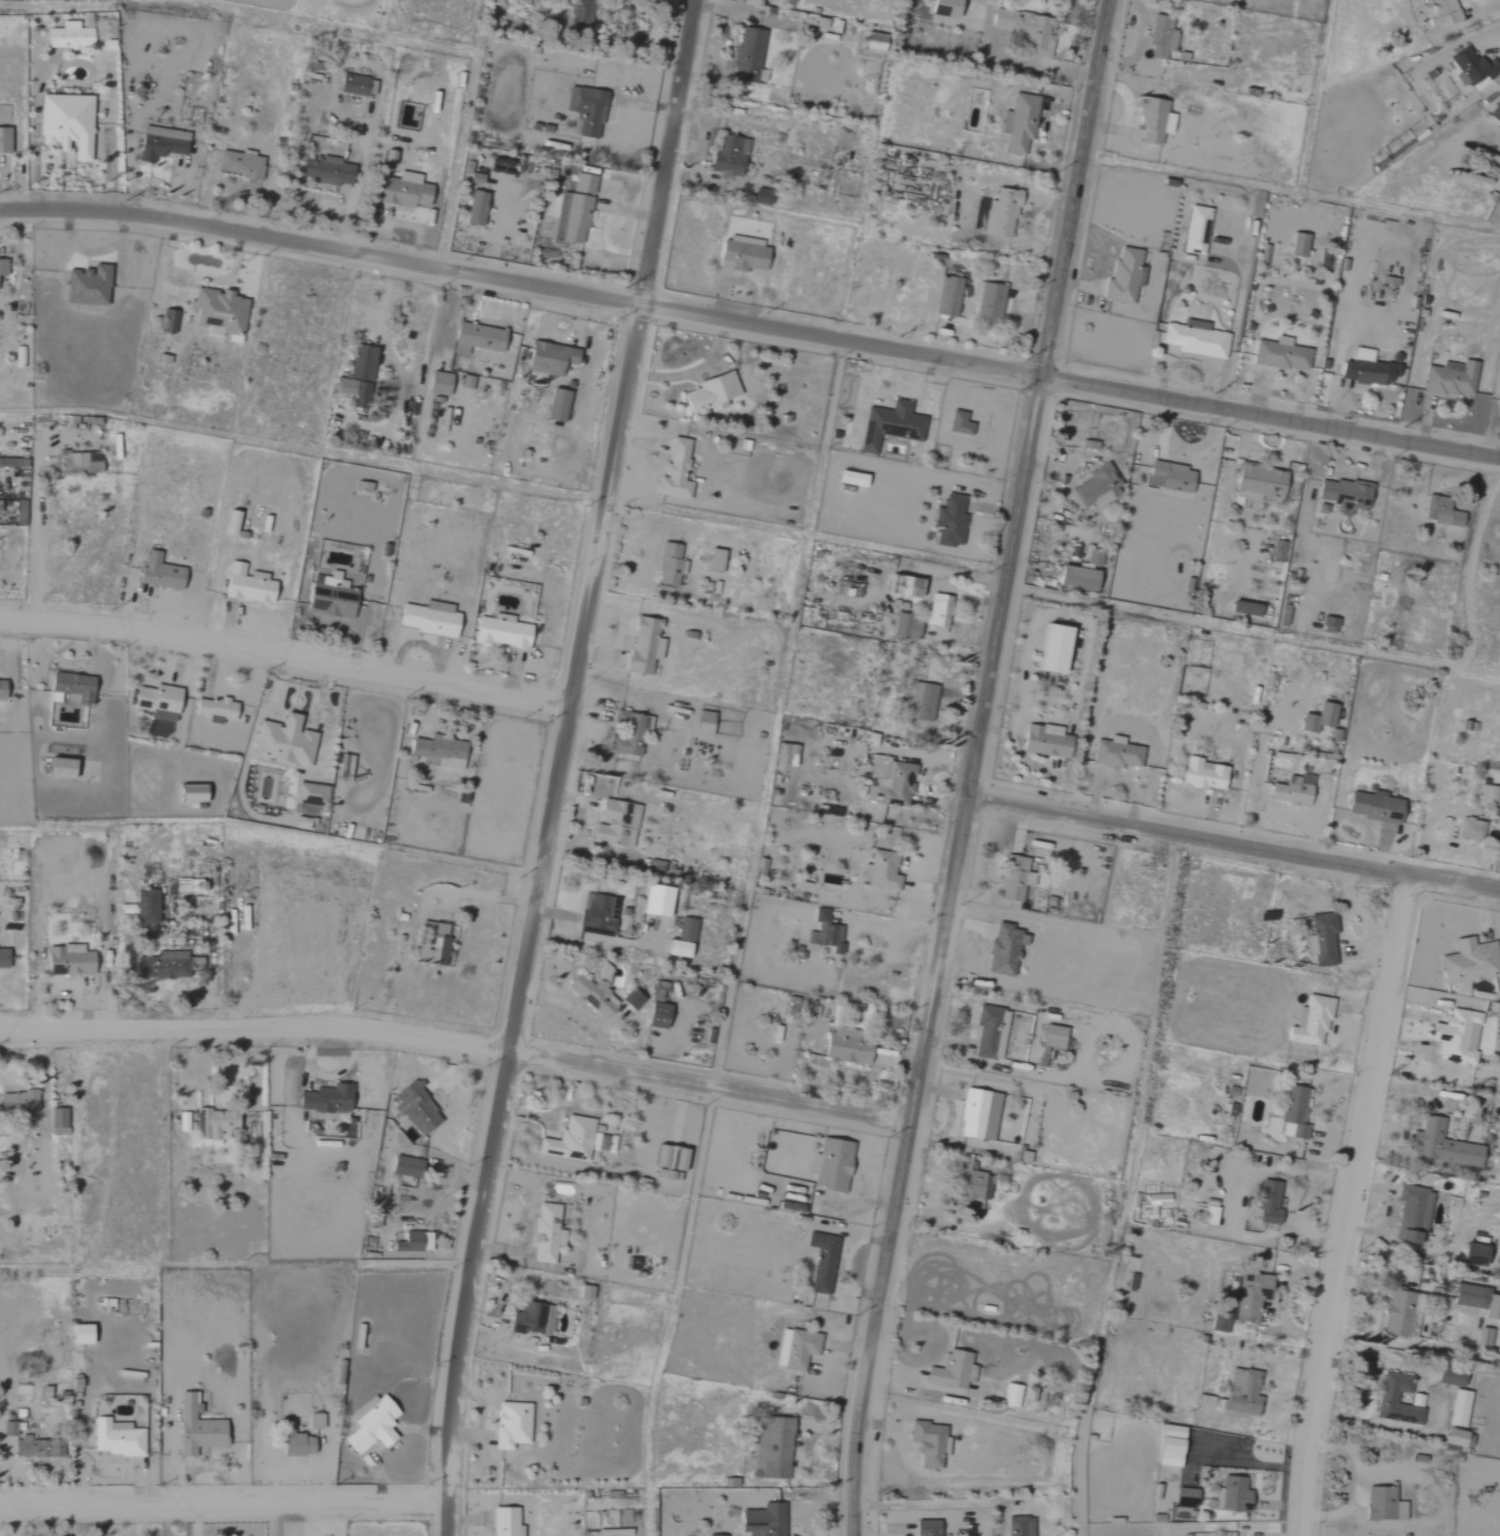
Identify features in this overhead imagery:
building: (940, 8)
building: (1444, 10)
building: (1026, 28)
building: (72, 36)
building: (1159, 38)
building: (746, 54)
building: (1470, 68)
building: (354, 85)
building: (584, 111)
building: (1495, 114)
building: (1153, 121)
building: (1017, 123)
building: (69, 124)
building: (6, 141)
building: (165, 143)
building: (727, 156)
building: (242, 165)
building: (327, 170)
building: (474, 179)
building: (582, 184)
building: (400, 191)
building: (473, 208)
building: (1002, 214)
building: (570, 220)
building: (1194, 231)
building: (1296, 245)
building: (742, 253)
building: (1322, 260)
building: (4, 269)
building: (1123, 277)
road: (518, 281)
building: (91, 286)
building: (947, 297)
building: (988, 304)
building: (222, 314)
building: (173, 322)
building: (474, 338)
building: (1280, 355)
building: (19, 357)
building: (547, 357)
building: (361, 363)
building: (1367, 370)
building: (1449, 380)
building: (437, 383)
building: (352, 391)
building: (708, 393)
building: (555, 405)
road: (1268, 411)
building: (957, 423)
building: (888, 425)
road: (302, 448)
building: (82, 464)
building: (674, 469)
building: (1167, 476)
building: (850, 478)
building: (1256, 483)
building: (1095, 488)
building: (1342, 494)
road: (31, 508)
building: (1320, 509)
building: (1439, 511)
building: (948, 521)
building: (225, 528)
road: (647, 528)
building: (1092, 557)
building: (713, 560)
building: (667, 564)
building: (157, 572)
building: (1073, 577)
building: (246, 584)
building: (906, 586)
building: (328, 595)
building: (1243, 608)
building: (937, 610)
building: (427, 619)
building: (904, 626)
building: (499, 632)
road: (1251, 633)
building: (642, 645)
building: (1050, 648)
road: (283, 653)
building: (70, 688)
building: (1, 690)
building: (156, 701)
building: (926, 704)
building: (214, 710)
building: (1322, 720)
building: (702, 722)
building: (628, 734)
building: (281, 741)
building: (1043, 741)
building: (437, 751)
building: (1115, 753)
building: (783, 755)
road: (555, 765)
building: (56, 768)
road: (974, 768)
building: (1201, 774)
building: (892, 786)
building: (1289, 791)
building: (188, 793)
building: (308, 794)
building: (1488, 794)
building: (1371, 807)
building: (614, 824)
building: (1469, 829)
road: (1235, 840)
building: (654, 866)
building: (879, 871)
building: (1013, 879)
building: (652, 900)
building: (144, 906)
building: (597, 914)
building: (687, 930)
building: (824, 933)
road: (852, 937)
building: (1320, 939)
building: (436, 943)
building: (674, 948)
building: (3, 958)
building: (69, 959)
building: (1468, 962)
building: (165, 964)
building: (592, 992)
building: (630, 1000)
building: (656, 1015)
building: (1313, 1020)
building: (988, 1032)
building: (1455, 1036)
building: (1051, 1037)
road: (454, 1038)
building: (843, 1048)
building: (325, 1099)
building: (16, 1101)
building: (415, 1110)
building: (1293, 1113)
building: (977, 1115)
building: (181, 1122)
building: (215, 1124)
building: (572, 1140)
building: (1441, 1145)
building: (831, 1165)
building: (402, 1167)
building: (972, 1194)
building: (1267, 1202)
road: (1348, 1204)
building: (1148, 1207)
building: (1411, 1213)
building: (1207, 1216)
building: (545, 1234)
building: (412, 1242)
building: (1469, 1255)
building: (821, 1262)
building: (584, 1292)
building: (1250, 1296)
building: (1476, 1301)
building: (1399, 1315)
building: (530, 1319)
building: (1218, 1323)
building: (77, 1334)
building: (1485, 1338)
building: (794, 1349)
building: (950, 1371)
building: (1447, 1377)
building: (44, 1393)
building: (1242, 1393)
building: (1010, 1395)
building: (1386, 1400)
building: (1457, 1408)
building: (313, 1421)
building: (510, 1425)
building: (370, 1427)
building: (195, 1428)
building: (114, 1438)
building: (29, 1444)
building: (926, 1444)
building: (295, 1445)
building: (1167, 1446)
building: (775, 1448)
road: (225, 1493)
building: (1230, 1495)
building: (1184, 1497)
building: (1382, 1504)
road: (939, 1505)
building: (762, 1521)
building: (504, 1522)
building: (1018, 1526)
building: (925, 1528)
building: (713, 1535)

